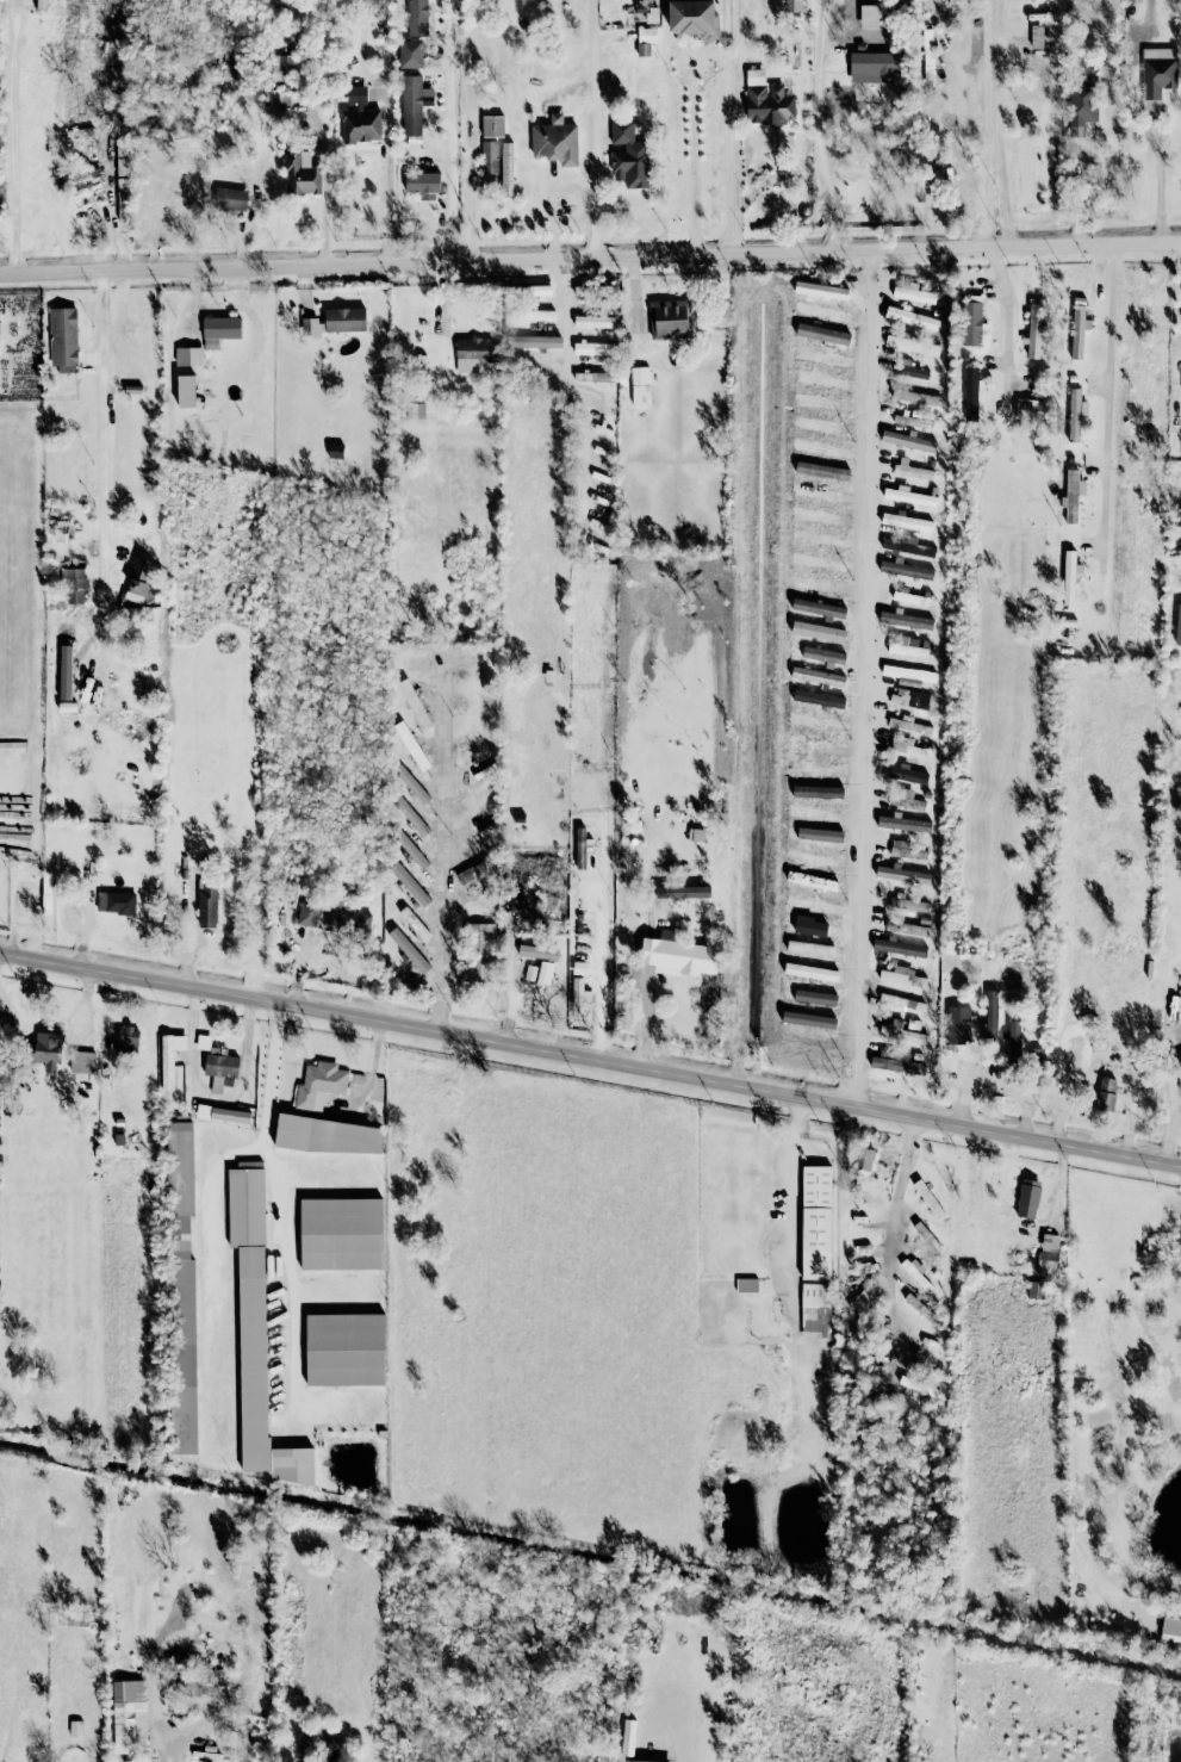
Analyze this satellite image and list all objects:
building: (41, 5)
building: (794, 6)
building: (417, 18)
building: (694, 18)
building: (645, 41)
building: (410, 54)
building: (926, 56)
building: (875, 67)
building: (230, 72)
building: (1157, 77)
building: (412, 105)
building: (767, 105)
building: (1080, 106)
building: (359, 118)
building: (492, 126)
road: (734, 126)
road: (818, 126)
road: (605, 128)
road: (449, 131)
road: (13, 139)
building: (554, 143)
road: (1002, 148)
building: (628, 156)
building: (489, 157)
road: (692, 159)
building: (506, 167)
building: (300, 175)
road: (387, 176)
building: (422, 185)
road: (325, 190)
building: (229, 199)
building: (122, 200)
road: (812, 252)
road: (220, 267)
building: (593, 290)
building: (530, 291)
building: (913, 294)
road: (442, 296)
building: (534, 315)
building: (912, 318)
road: (1007, 318)
building: (344, 319)
building: (667, 319)
building: (971, 321)
building: (592, 322)
building: (312, 325)
building: (220, 328)
building: (1033, 330)
building: (1077, 330)
building: (63, 336)
building: (534, 341)
building: (912, 345)
building: (593, 348)
building: (470, 354)
building: (188, 356)
building: (910, 372)
building: (595, 378)
building: (640, 386)
building: (185, 391)
road: (572, 391)
building: (970, 393)
building: (914, 397)
road: (1108, 405)
building: (1030, 409)
building: (412, 410)
building: (1074, 415)
building: (912, 421)
building: (908, 441)
road: (107, 465)
building: (913, 472)
building: (1071, 495)
building: (908, 497)
building: (905, 521)
building: (913, 540)
building: (908, 547)
building: (906, 570)
building: (1069, 576)
building: (1179, 577)
building: (138, 581)
building: (74, 584)
building: (908, 597)
building: (906, 620)
building: (1177, 625)
building: (907, 646)
building: (64, 672)
building: (908, 672)
road: (866, 677)
building: (910, 699)
building: (414, 703)
building: (67, 707)
building: (907, 725)
building: (411, 746)
building: (903, 746)
building: (907, 775)
building: (903, 800)
building: (410, 815)
building: (903, 824)
building: (580, 848)
building: (410, 849)
building: (908, 849)
road: (445, 854)
building: (901, 875)
building: (409, 885)
building: (682, 892)
building: (116, 902)
building: (902, 904)
building: (206, 907)
building: (307, 914)
building: (349, 922)
building: (414, 923)
building: (906, 927)
building: (899, 948)
building: (408, 949)
building: (481, 951)
building: (679, 956)
building: (546, 966)
building: (901, 976)
road: (512, 995)
building: (577, 998)
building: (901, 1001)
road: (607, 1004)
building: (992, 1016)
building: (912, 1024)
building: (958, 1025)
building: (902, 1035)
building: (128, 1040)
building: (1013, 1043)
building: (46, 1050)
road: (590, 1056)
building: (169, 1057)
building: (82, 1062)
building: (217, 1063)
building: (896, 1063)
road: (272, 1077)
building: (319, 1085)
building: (1105, 1094)
road: (213, 1098)
building: (223, 1115)
building: (325, 1136)
road: (261, 1149)
building: (863, 1160)
road: (906, 1167)
building: (1027, 1198)
building: (928, 1199)
road: (796, 1210)
building: (815, 1222)
building: (342, 1234)
building: (926, 1236)
building: (1048, 1253)
building: (916, 1273)
building: (182, 1283)
building: (746, 1285)
road: (325, 1293)
building: (862, 1301)
building: (251, 1308)
building: (919, 1308)
building: (815, 1310)
building: (346, 1350)
building: (383, 1434)
building: (293, 1465)
road: (212, 1707)
building: (128, 1714)
road: (173, 1738)
road: (688, 1749)
building: (638, 1761)

